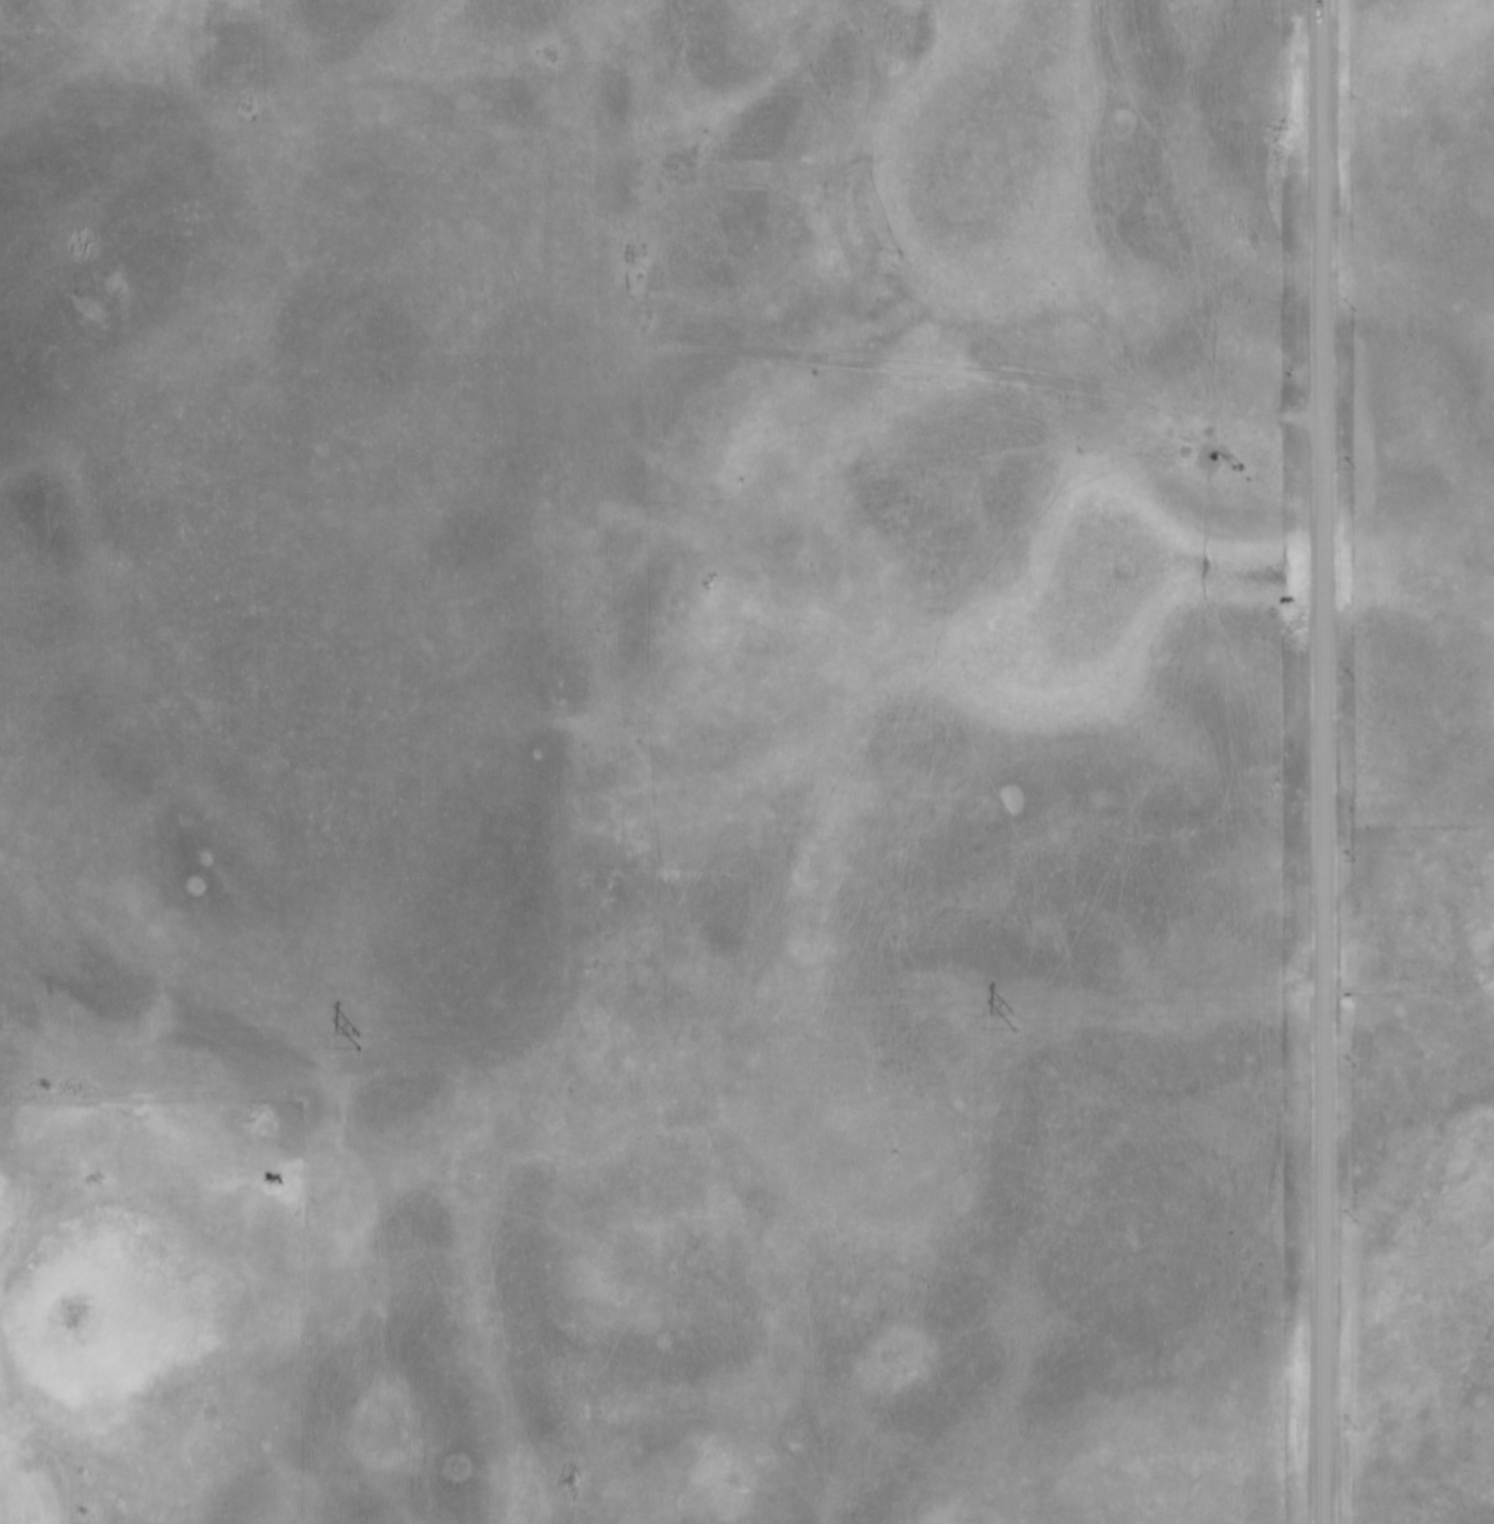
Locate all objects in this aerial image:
road: (1325, 762)
power tower: (1010, 1022)
power tower: (356, 1041)

